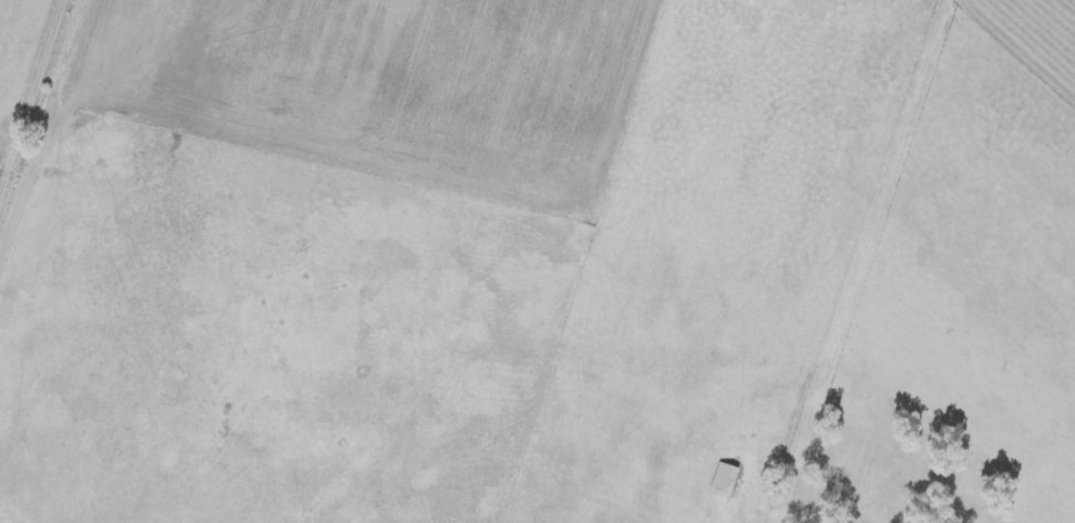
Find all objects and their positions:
road: (51, 163)
road: (849, 261)

